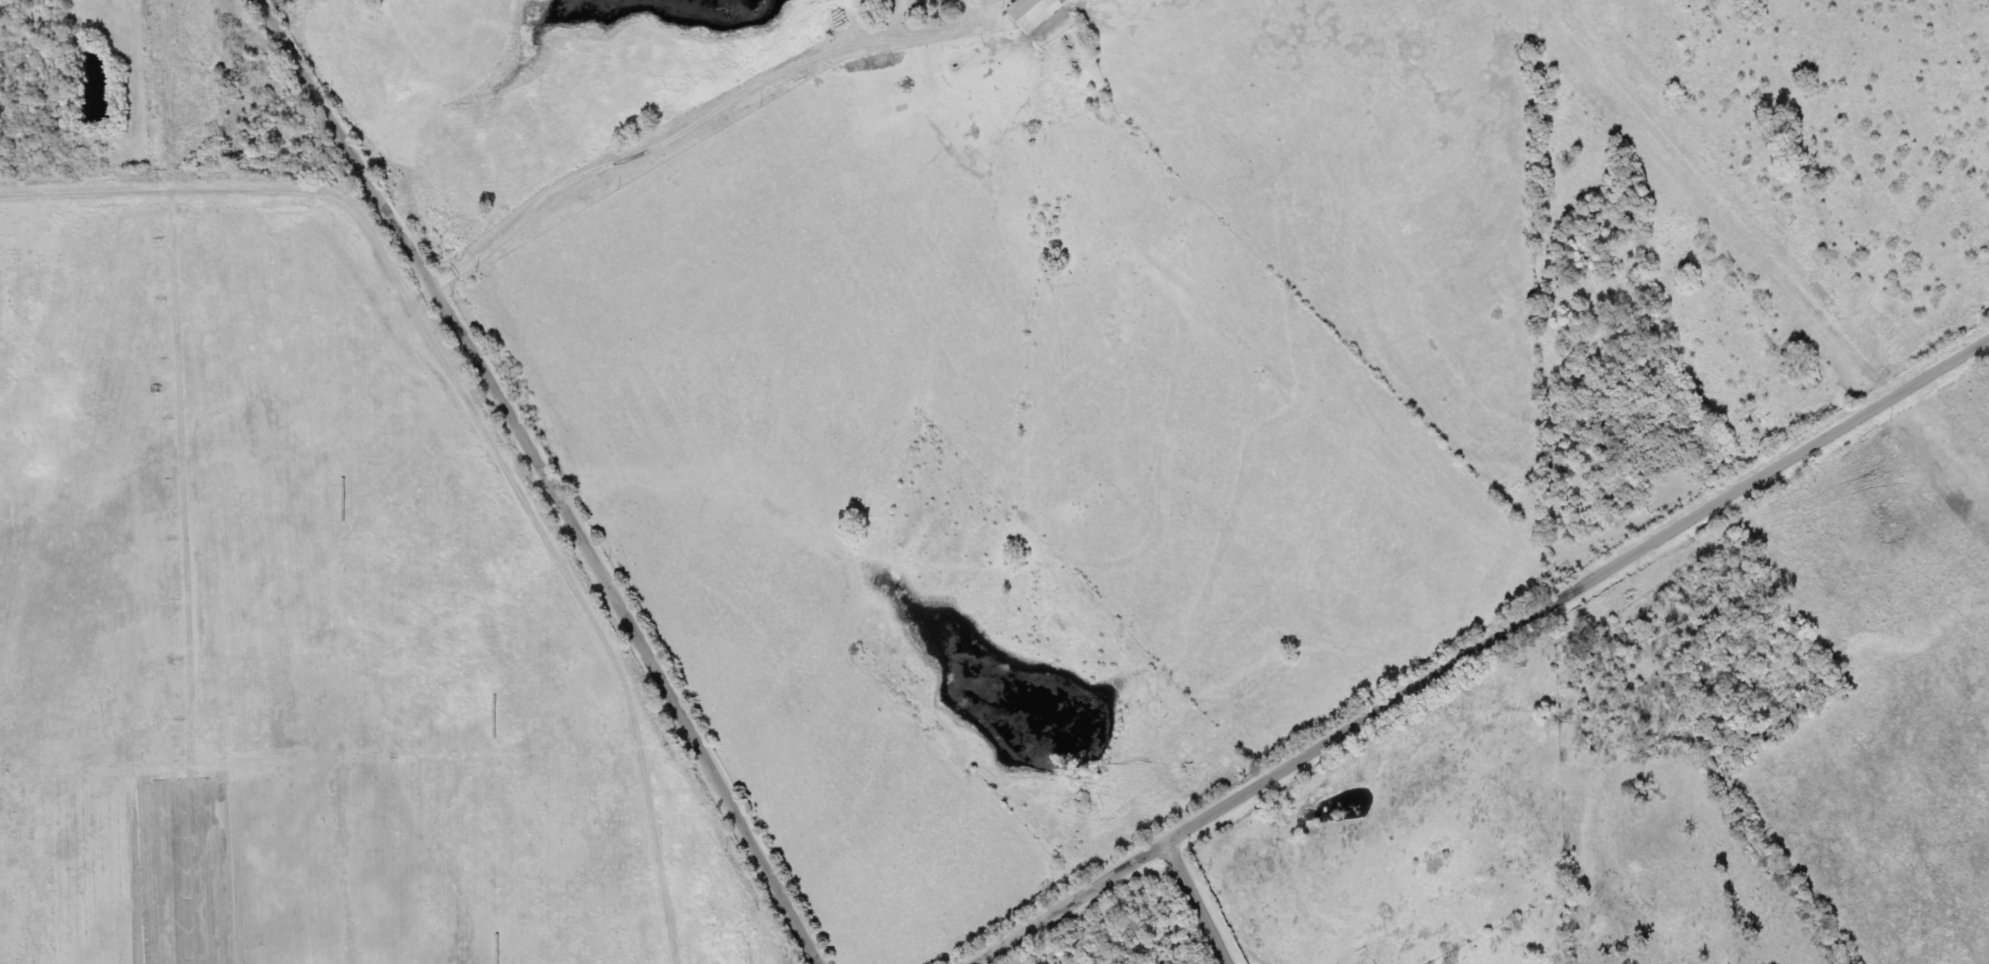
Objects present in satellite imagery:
building: (1033, 12)
road: (552, 477)
airport: (302, 618)
road: (1481, 651)
road: (1194, 905)
airport: (1116, 932)

